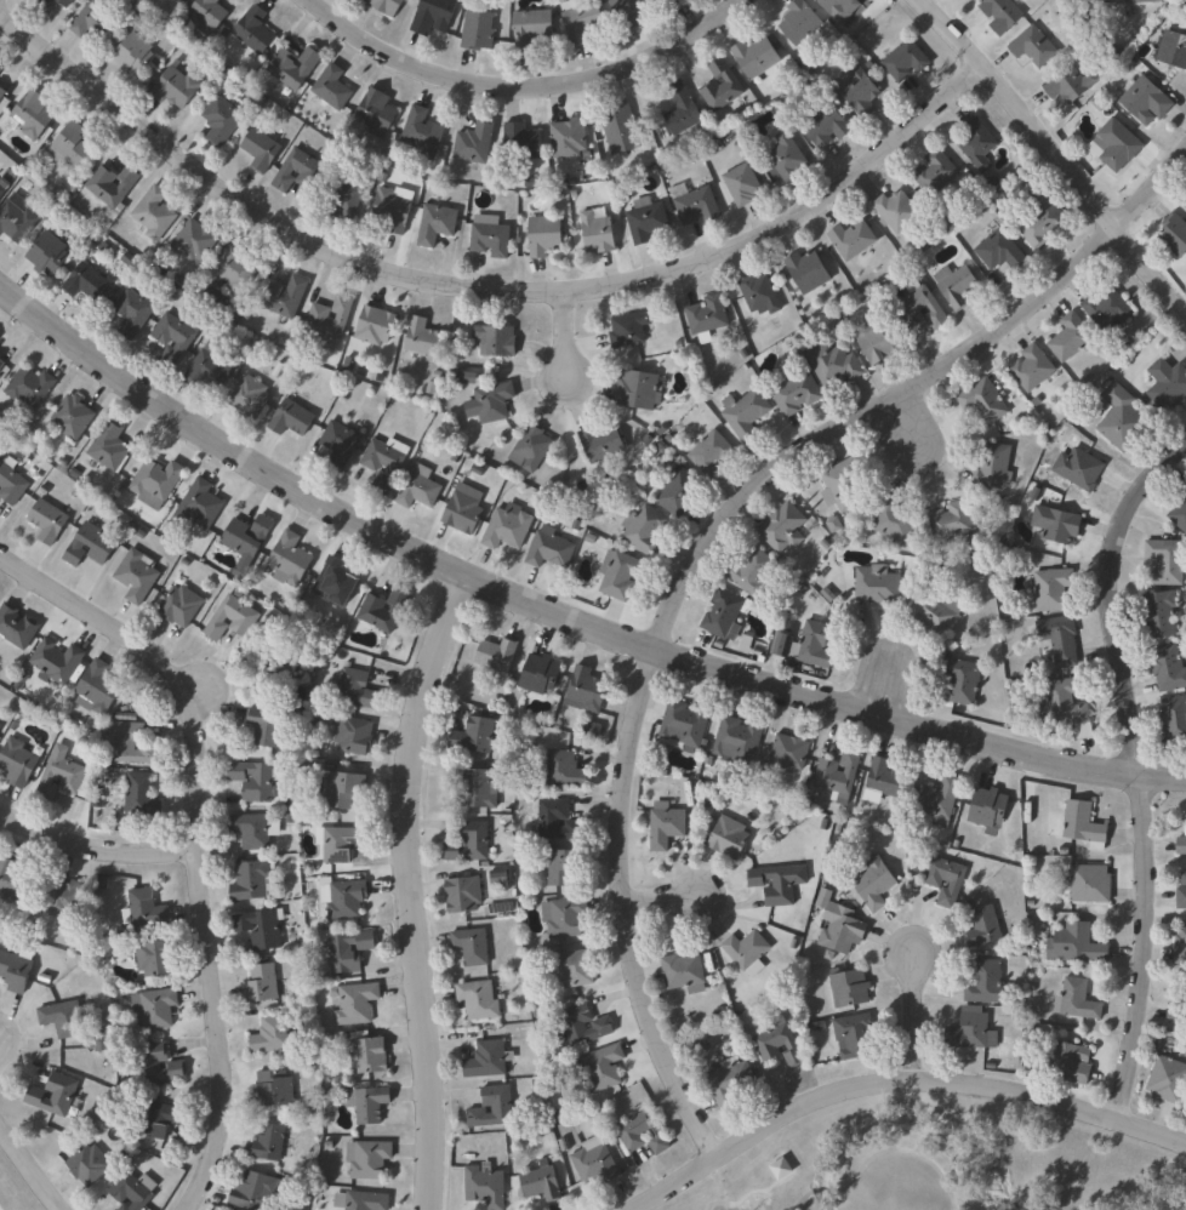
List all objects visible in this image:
building: (178, 0)
building: (42, 1)
building: (1140, 1)
building: (65, 2)
building: (674, 4)
building: (387, 6)
building: (843, 8)
building: (631, 11)
building: (209, 13)
building: (1002, 15)
building: (433, 16)
building: (95, 19)
building: (580, 19)
building: (800, 22)
building: (531, 29)
building: (478, 30)
building: (251, 32)
building: (1034, 46)
building: (1174, 47)
building: (133, 53)
building: (757, 56)
building: (906, 59)
building: (293, 65)
building: (1, 68)
road: (517, 80)
building: (236, 84)
building: (1072, 84)
building: (332, 86)
building: (722, 86)
building: (176, 87)
building: (861, 90)
building: (2, 91)
building: (1147, 98)
building: (683, 109)
building: (377, 112)
building: (33, 114)
building: (222, 120)
building: (827, 126)
building: (622, 129)
building: (422, 132)
building: (570, 138)
building: (521, 141)
building: (475, 142)
building: (977, 142)
building: (1121, 144)
building: (69, 145)
building: (261, 148)
road: (1060, 152)
building: (786, 154)
building: (298, 170)
building: (936, 172)
building: (742, 183)
building: (113, 187)
building: (2, 190)
building: (346, 198)
building: (695, 204)
building: (393, 207)
building: (899, 210)
building: (154, 212)
building: (1043, 217)
building: (646, 219)
building: (17, 221)
building: (437, 222)
building: (598, 233)
building: (1175, 234)
building: (544, 235)
building: (854, 239)
building: (195, 240)
building: (491, 240)
building: (1002, 250)
building: (47, 253)
building: (233, 269)
building: (808, 270)
building: (85, 280)
building: (957, 284)
road: (485, 291)
building: (760, 293)
building: (285, 297)
building: (923, 306)
building: (1108, 308)
building: (133, 309)
building: (707, 314)
building: (330, 321)
building: (376, 325)
building: (629, 329)
road: (569, 333)
building: (176, 336)
building: (1072, 336)
building: (426, 338)
building: (496, 338)
building: (879, 342)
building: (1, 363)
building: (836, 363)
building: (210, 366)
building: (1033, 367)
building: (1168, 382)
building: (30, 386)
building: (638, 389)
building: (798, 393)
building: (249, 395)
building: (491, 403)
building: (985, 403)
building: (746, 413)
building: (1121, 416)
building: (73, 417)
building: (291, 417)
road: (906, 419)
building: (601, 443)
building: (340, 444)
building: (109, 445)
building: (531, 447)
building: (712, 453)
building: (383, 463)
building: (996, 466)
building: (1079, 468)
building: (156, 483)
building: (11, 484)
building: (843, 485)
building: (418, 489)
building: (678, 491)
building: (1185, 491)
building: (199, 506)
building: (463, 512)
building: (1179, 514)
building: (47, 520)
building: (895, 520)
building: (951, 521)
building: (1059, 524)
building: (508, 526)
building: (785, 527)
building: (644, 529)
building: (247, 536)
building: (90, 546)
building: (551, 548)
road: (700, 552)
building: (290, 559)
building: (1168, 561)
building: (753, 571)
building: (620, 575)
building: (137, 576)
building: (335, 582)
building: (878, 584)
building: (1054, 589)
building: (181, 606)
road: (559, 607)
building: (383, 611)
building: (937, 611)
building: (723, 613)
building: (1162, 613)
building: (232, 618)
building: (17, 627)
building: (1060, 640)
building: (809, 645)
building: (496, 655)
building: (57, 661)
building: (1170, 666)
building: (274, 672)
building: (541, 674)
building: (962, 681)
building: (99, 687)
building: (358, 690)
building: (587, 690)
building: (1070, 708)
building: (1174, 719)
building: (685, 725)
building: (266, 726)
building: (354, 735)
building: (475, 736)
building: (739, 741)
building: (132, 744)
building: (791, 753)
building: (17, 763)
road: (1137, 767)
building: (565, 770)
building: (840, 775)
building: (62, 777)
building: (255, 780)
building: (883, 782)
building: (477, 787)
building: (340, 789)
building: (141, 795)
building: (941, 800)
building: (990, 807)
building: (559, 821)
building: (1085, 824)
building: (667, 826)
building: (251, 831)
road: (192, 835)
building: (729, 838)
building: (341, 843)
building: (472, 843)
building: (1182, 845)
road: (92, 850)
building: (561, 867)
building: (11, 879)
building: (1184, 879)
building: (946, 880)
building: (251, 881)
building: (874, 881)
building: (779, 884)
building: (1090, 885)
road: (416, 887)
building: (464, 895)
building: (343, 898)
building: (1182, 898)
building: (63, 900)
road: (662, 904)
building: (143, 909)
building: (565, 917)
building: (983, 928)
building: (261, 929)
building: (842, 932)
building: (1078, 946)
building: (472, 947)
building: (1181, 948)
building: (747, 949)
building: (349, 951)
building: (154, 960)
building: (575, 969)
building: (15, 971)
building: (683, 971)
building: (261, 984)
building: (988, 984)
building: (850, 988)
building: (478, 1000)
building: (1078, 1001)
building: (355, 1003)
building: (155, 1009)
road: (916, 1015)
building: (1178, 1018)
building: (65, 1020)
building: (582, 1027)
building: (973, 1033)
building: (272, 1035)
building: (856, 1037)
building: (101, 1041)
building: (779, 1044)
building: (369, 1054)
building: (487, 1061)
building: (1070, 1063)
building: (159, 1065)
building: (599, 1069)
building: (1168, 1080)
road: (895, 1081)
building: (731, 1083)
building: (274, 1088)
building: (53, 1095)
building: (369, 1105)
building: (492, 1108)
building: (160, 1120)
building: (643, 1134)
building: (269, 1142)
road: (899, 1152)
building: (370, 1159)
building: (594, 1160)
park: (937, 1163)
building: (89, 1165)
road: (32, 1166)
building: (777, 1168)
park: (24, 1180)
building: (541, 1183)
building: (485, 1187)
road: (819, 1189)
building: (255, 1191)
road: (748, 1191)
building: (130, 1192)
road: (720, 1193)
road: (799, 1199)
building: (366, 1200)

